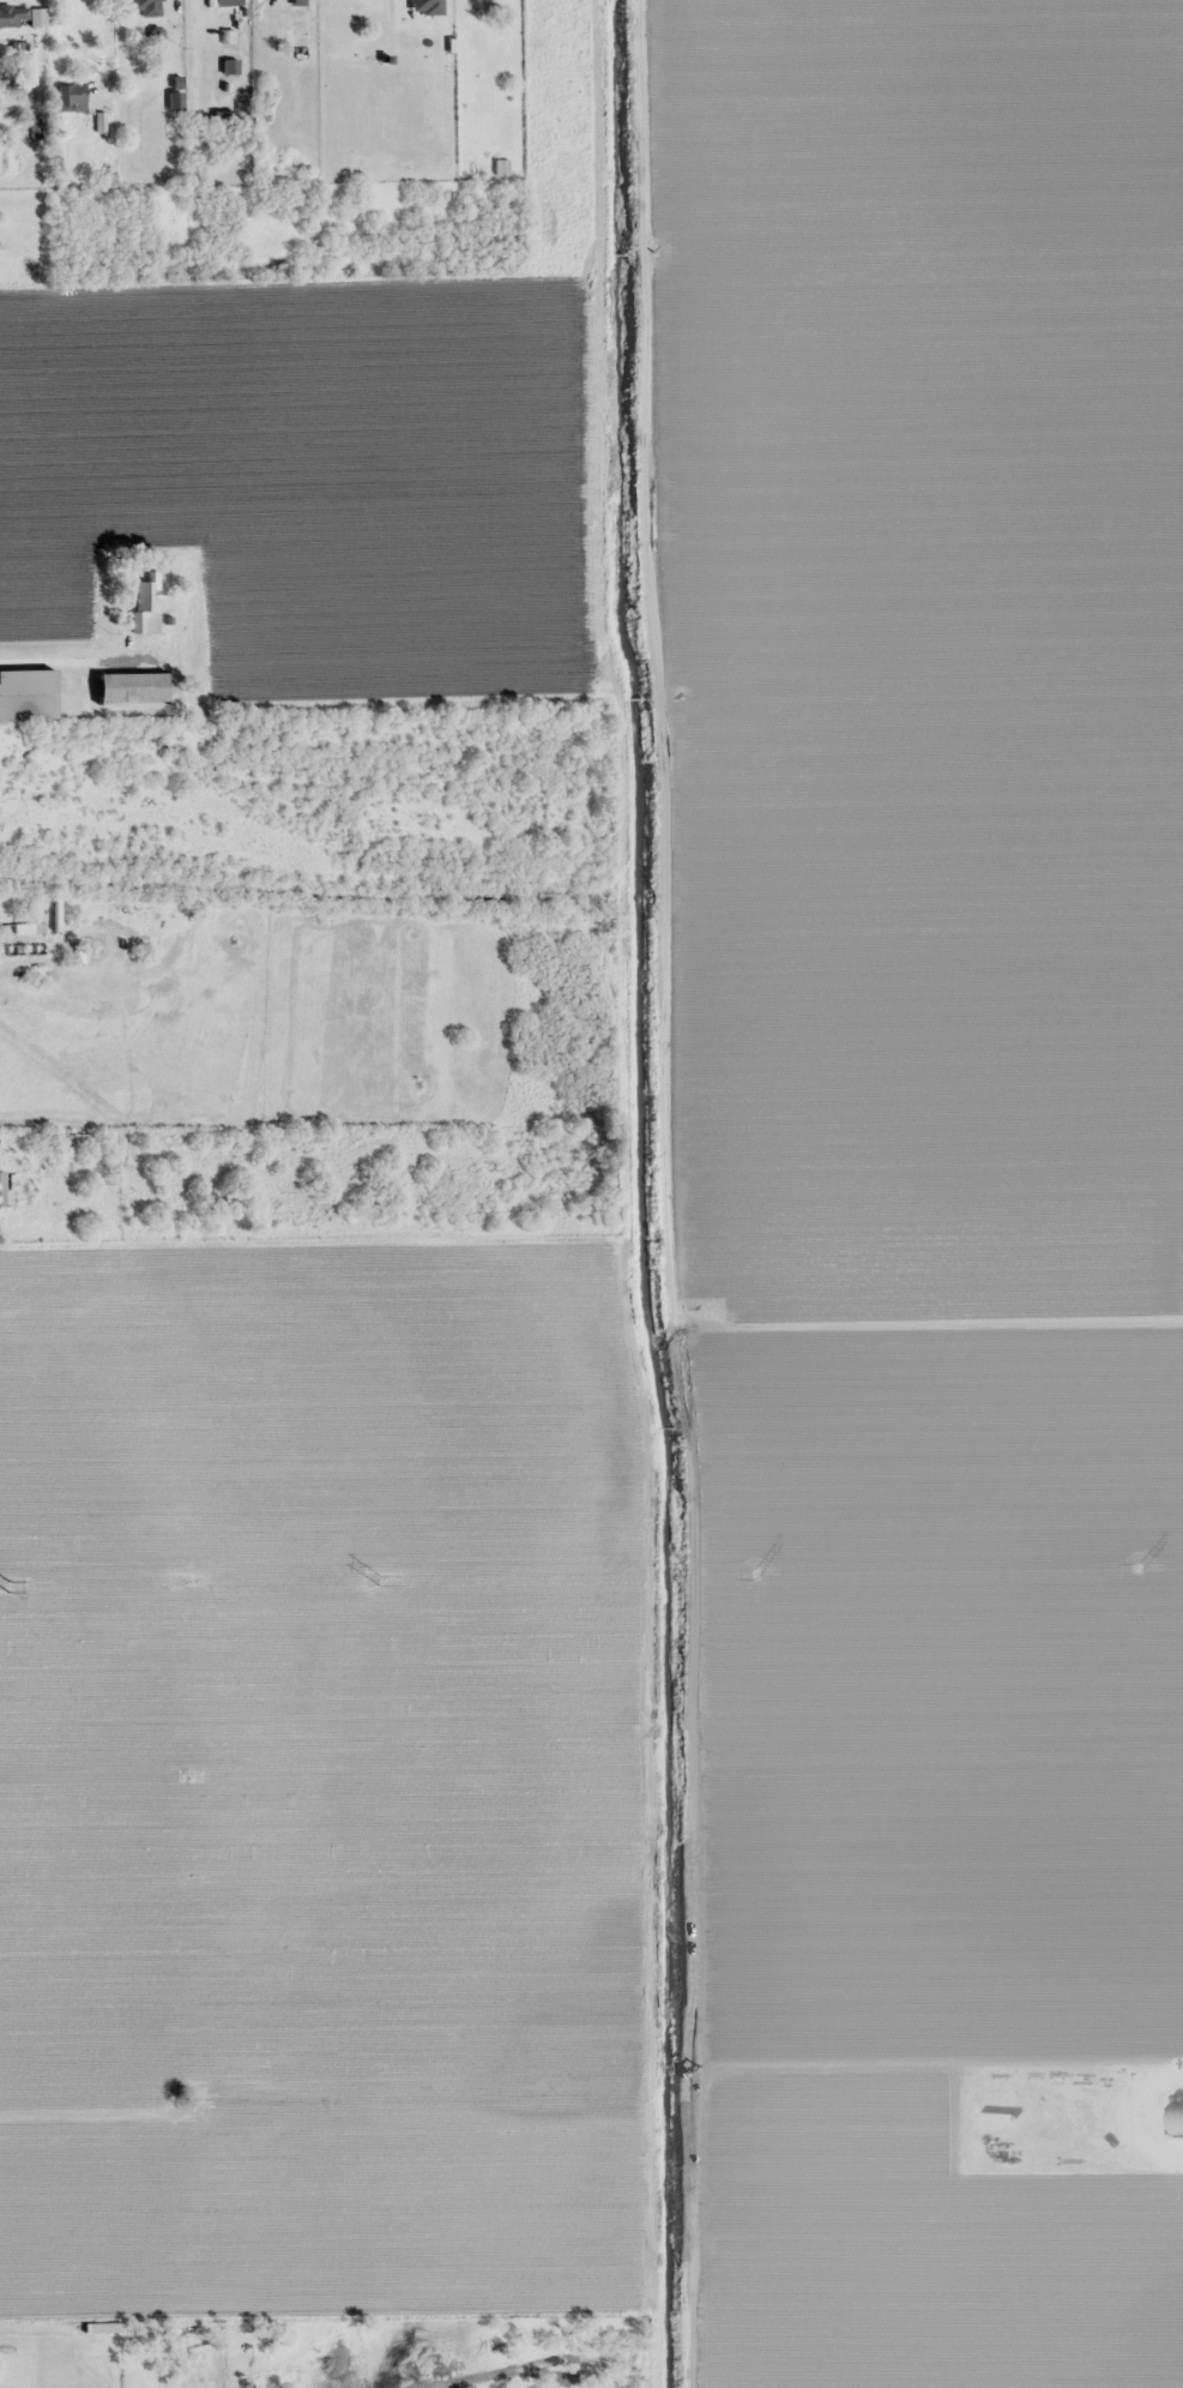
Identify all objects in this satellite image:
building: (147, 8)
building: (12, 17)
building: (71, 98)
building: (176, 102)
building: (147, 607)
road: (53, 648)
building: (132, 688)
building: (28, 696)
building: (22, 930)
power tower: (1147, 1569)
power tower: (759, 1574)
power tower: (369, 1581)
building: (1123, 2083)
building: (1175, 2119)

